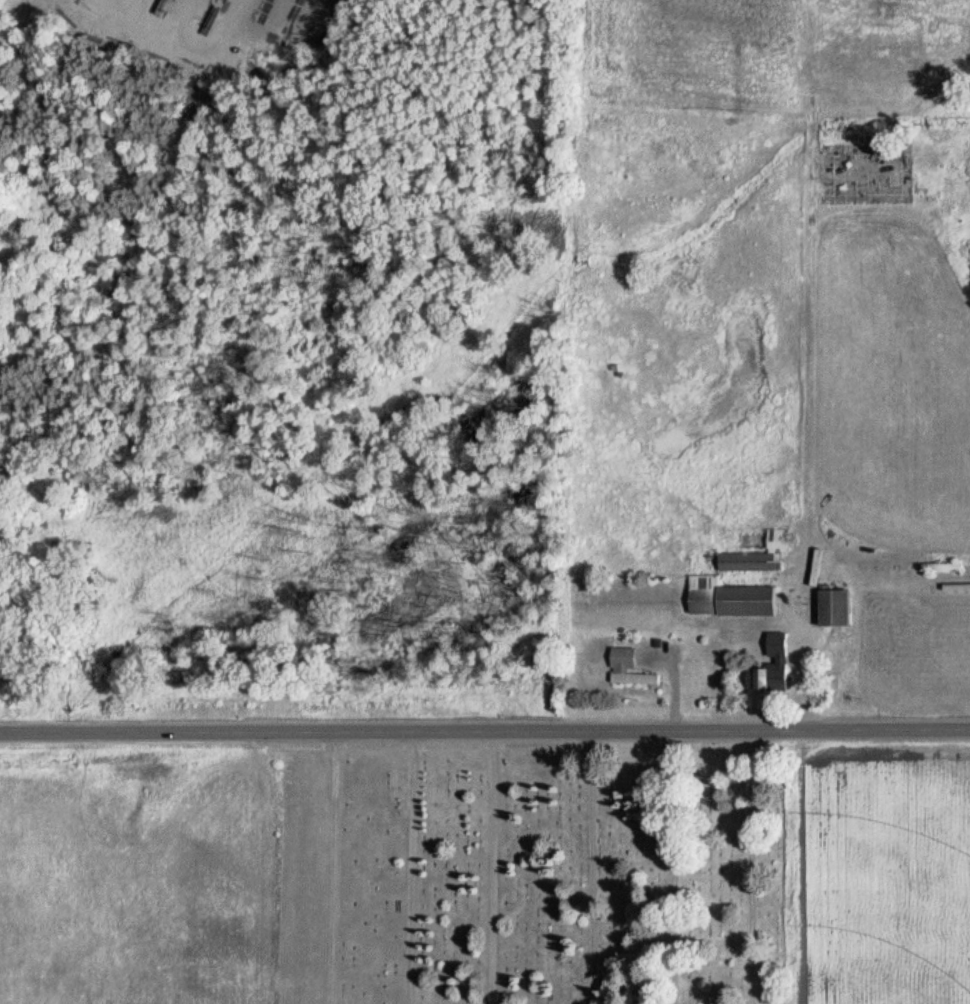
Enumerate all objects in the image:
building: (756, 555)
building: (726, 599)
building: (830, 608)
building: (778, 662)
building: (627, 669)
road: (775, 730)
road: (290, 733)
road: (667, 867)
road: (751, 867)
road: (333, 868)
road: (411, 868)
road: (495, 868)
road: (593, 868)
park: (535, 874)
building: (344, 993)

